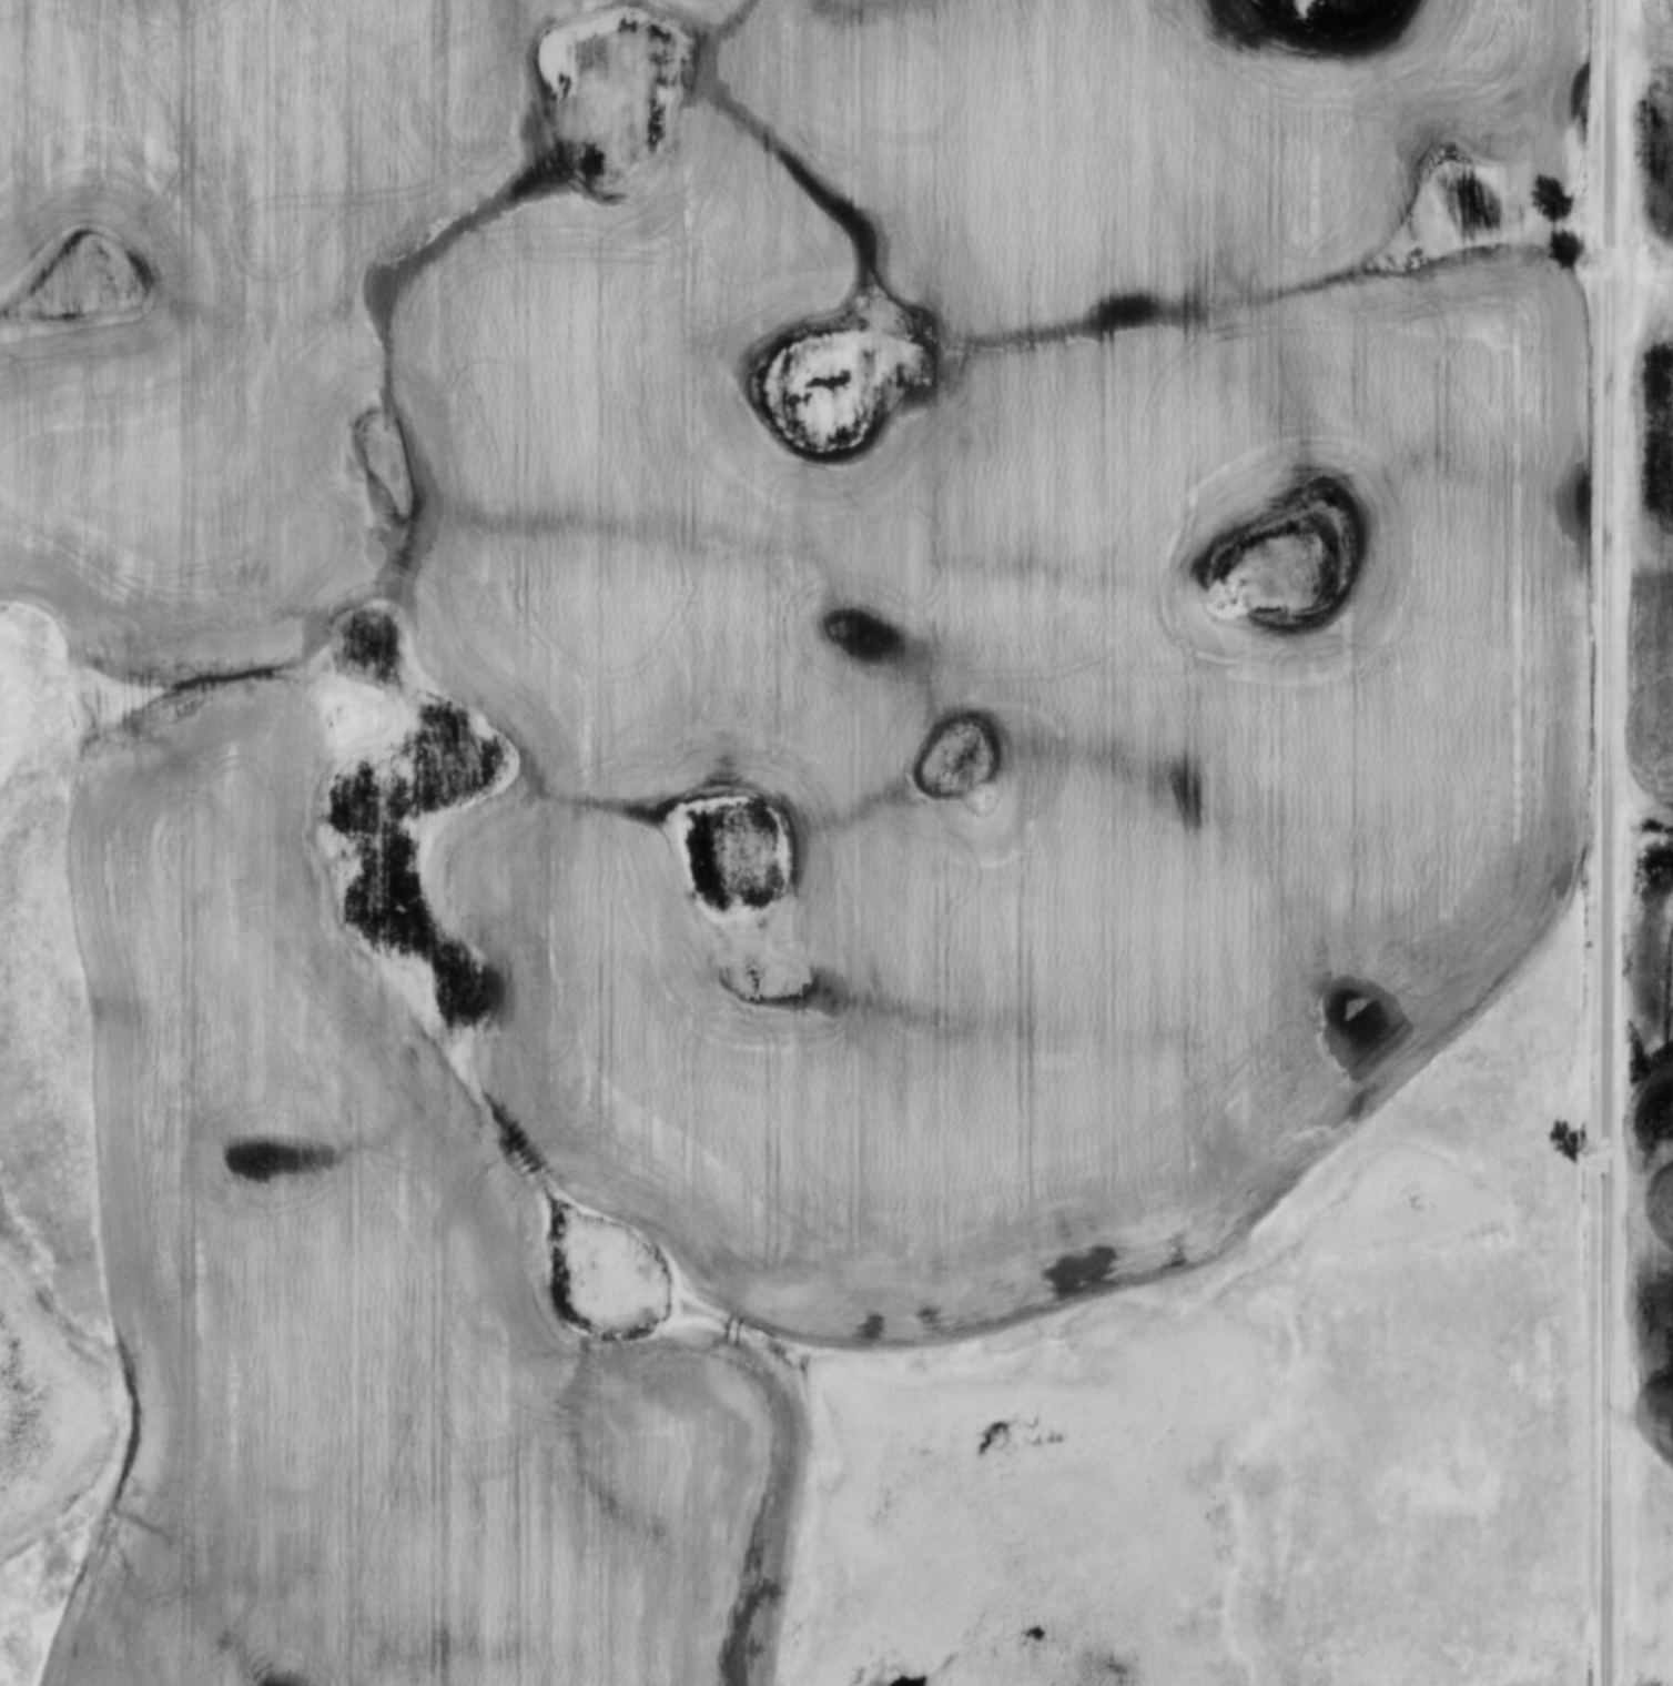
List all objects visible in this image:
road: (1609, 842)

